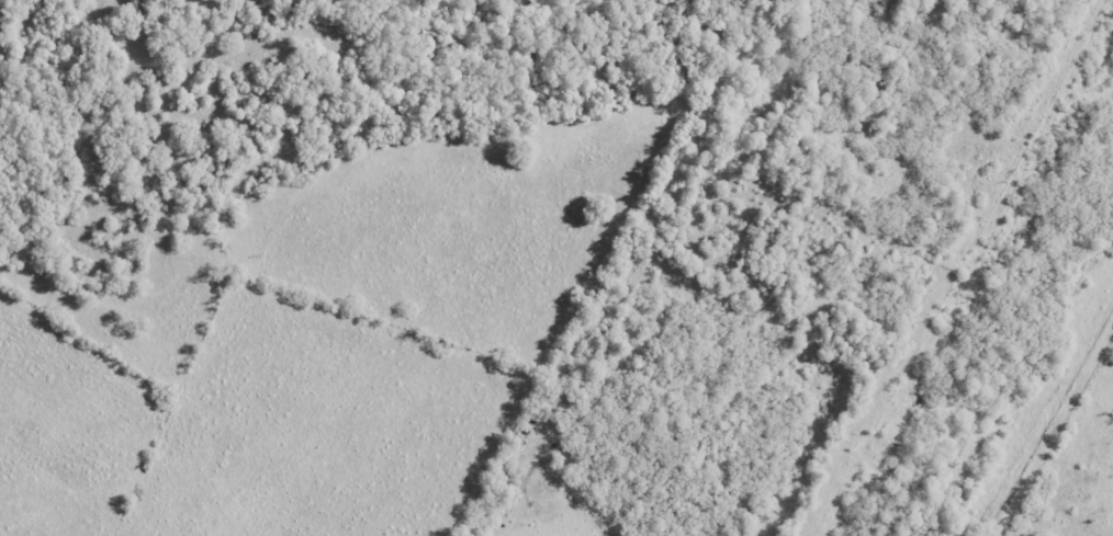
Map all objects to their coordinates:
road: (1049, 421)

